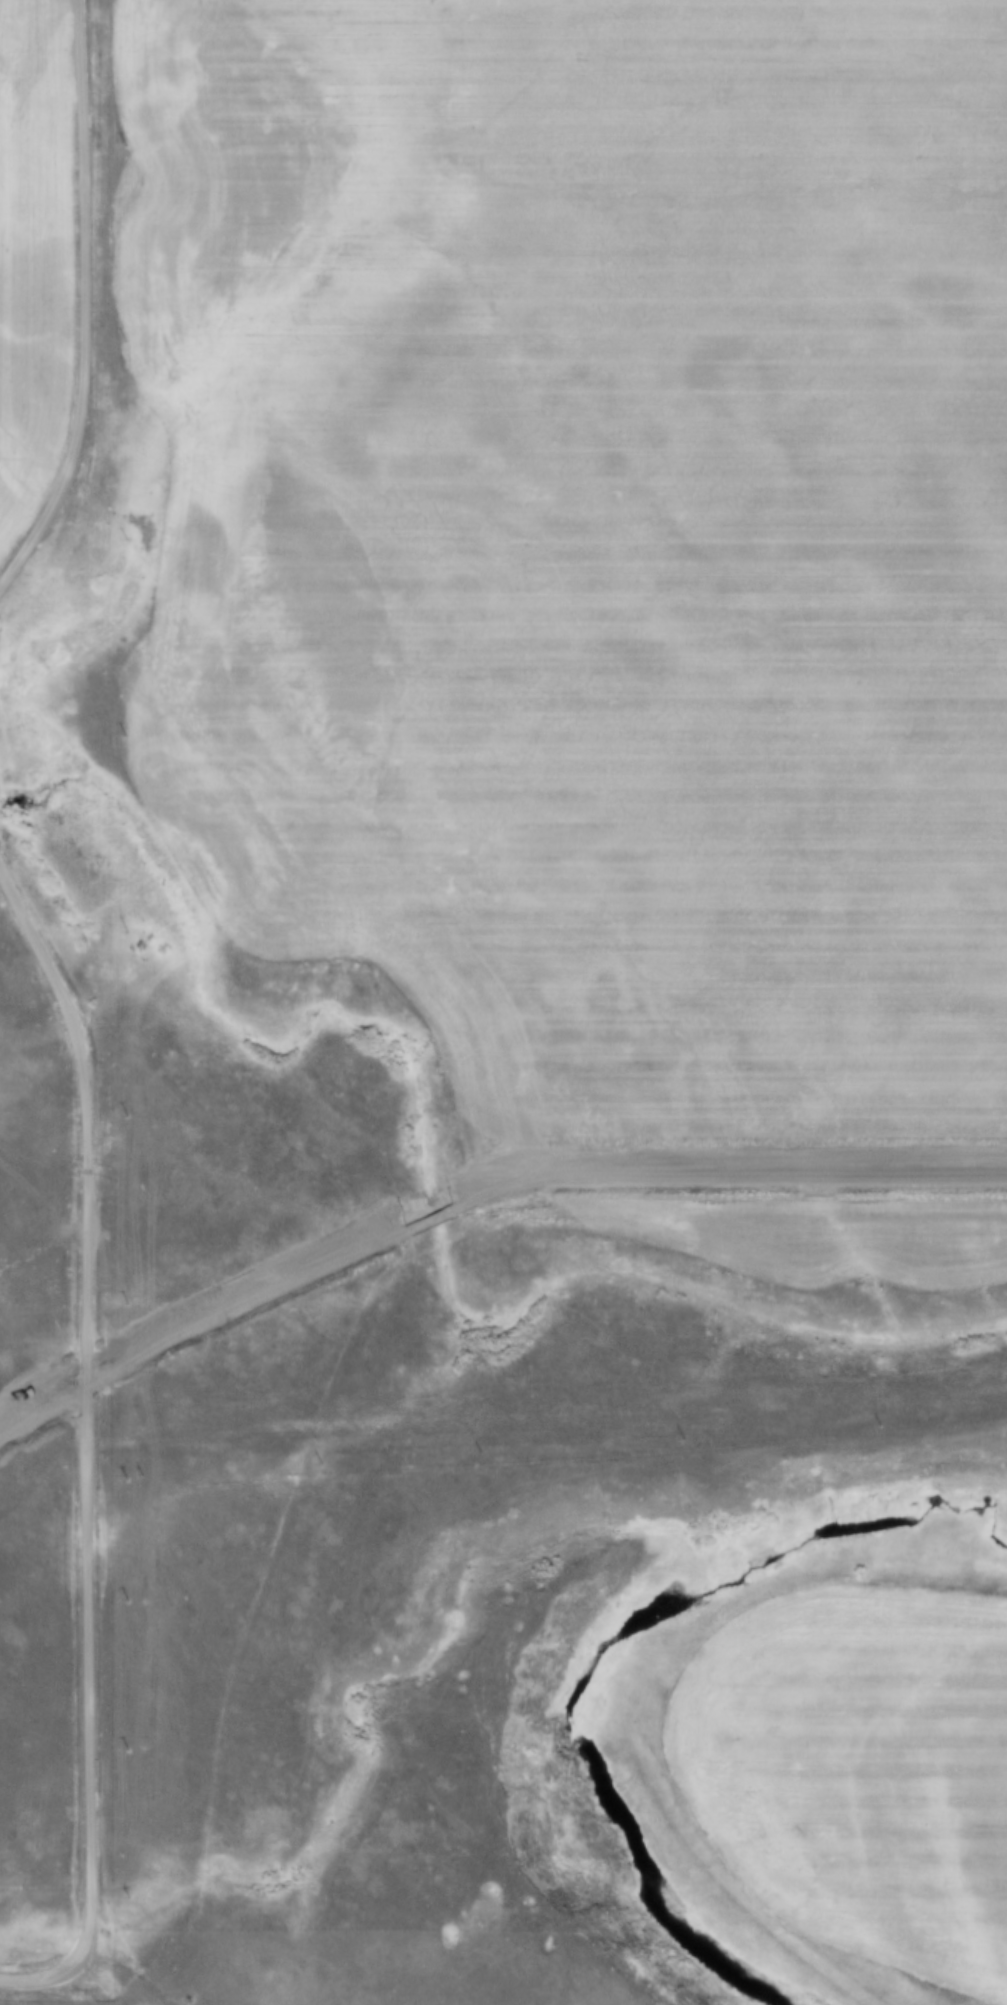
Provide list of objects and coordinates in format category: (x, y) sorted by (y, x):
road: (88, 309)
road: (94, 1396)
road: (47, 1976)
road: (121, 1978)

